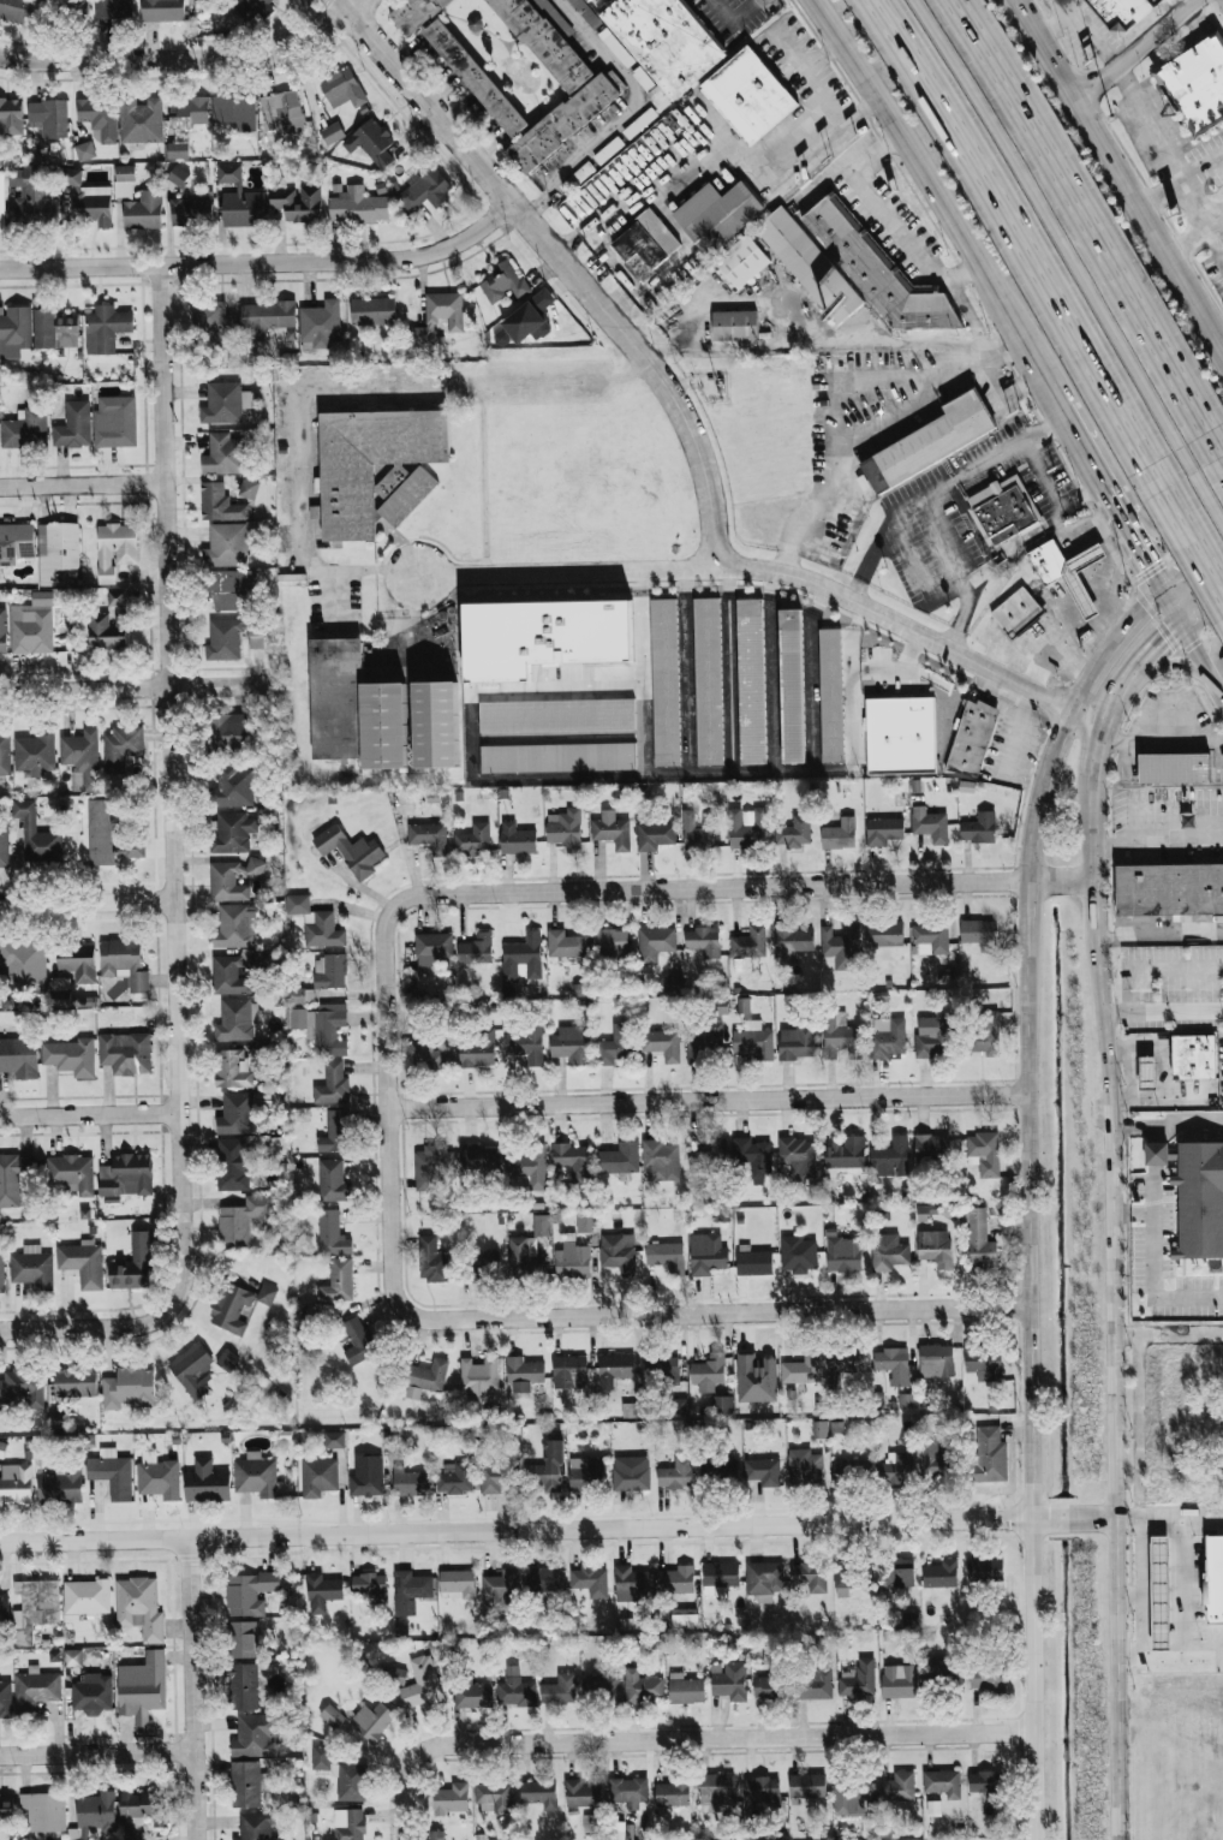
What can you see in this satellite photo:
building: (587, 0)
road: (353, 4)
building: (113, 8)
building: (253, 8)
building: (13, 10)
building: (161, 11)
building: (1118, 13)
parking lot: (734, 19)
road: (733, 20)
road: (1055, 20)
road: (1090, 32)
building: (663, 42)
road: (1139, 49)
road: (181, 56)
building: (455, 58)
building: (553, 83)
building: (1197, 85)
building: (342, 89)
building: (748, 97)
road: (823, 97)
building: (187, 112)
building: (234, 113)
building: (281, 113)
building: (10, 115)
road: (627, 115)
building: (49, 118)
building: (99, 118)
building: (139, 120)
building: (332, 133)
building: (371, 143)
road: (1163, 147)
building: (84, 151)
building: (177, 151)
building: (124, 173)
road: (1121, 173)
building: (177, 175)
building: (71, 177)
road: (1181, 180)
building: (123, 190)
building: (425, 191)
building: (32, 198)
building: (238, 200)
road: (943, 200)
building: (1, 203)
building: (298, 204)
building: (93, 206)
building: (357, 207)
building: (192, 210)
building: (143, 212)
road: (601, 214)
building: (717, 215)
road: (893, 222)
road: (1088, 225)
road: (1051, 233)
road: (1194, 236)
road: (1215, 236)
road: (1010, 244)
building: (645, 245)
road: (1221, 246)
building: (742, 261)
road: (263, 262)
road: (563, 266)
building: (852, 269)
building: (502, 284)
building: (544, 304)
road: (966, 310)
building: (372, 311)
building: (210, 317)
building: (437, 317)
building: (264, 320)
building: (525, 323)
building: (320, 324)
building: (734, 326)
building: (105, 328)
building: (55, 329)
building: (14, 332)
road: (889, 341)
road: (1222, 351)
road: (843, 391)
building: (225, 404)
building: (114, 422)
building: (73, 425)
building: (24, 429)
building: (929, 442)
road: (1088, 445)
road: (1222, 453)
building: (223, 455)
building: (376, 468)
road: (83, 486)
road: (941, 487)
building: (247, 489)
road: (1120, 500)
road: (1206, 501)
building: (219, 504)
building: (1002, 511)
road: (1176, 520)
parking lot: (929, 525)
road: (1098, 532)
road: (1137, 532)
building: (16, 543)
building: (226, 546)
building: (115, 549)
building: (56, 550)
road: (1189, 553)
building: (1046, 562)
traffic signals: (1152, 562)
road: (949, 565)
road: (757, 570)
road: (344, 571)
road: (1156, 571)
road: (1194, 573)
traffic signals: (1188, 578)
road: (640, 583)
road: (682, 583)
road: (726, 583)
road: (770, 585)
road: (1111, 585)
building: (231, 588)
building: (1080, 596)
gas station: (1080, 596)
building: (115, 599)
road: (817, 600)
road: (1204, 611)
road: (859, 615)
building: (30, 630)
building: (2, 631)
building: (107, 631)
building: (543, 636)
building: (231, 638)
road: (948, 638)
road: (1169, 638)
road: (1194, 641)
road: (1058, 643)
traffic signals: (1164, 643)
road: (1001, 645)
road: (1149, 659)
road: (1072, 660)
road: (1097, 662)
road: (1219, 667)
road: (901, 669)
road: (854, 671)
building: (708, 681)
building: (750, 681)
building: (664, 683)
road: (643, 684)
road: (686, 684)
road: (729, 684)
road: (771, 684)
building: (792, 686)
road: (139, 689)
road: (514, 689)
road: (812, 689)
road: (851, 695)
building: (830, 696)
building: (354, 709)
building: (556, 715)
building: (436, 725)
building: (229, 733)
building: (901, 736)
building: (971, 739)
road: (1164, 744)
building: (121, 746)
building: (4, 754)
building: (32, 754)
building: (557, 757)
building: (80, 760)
road: (1081, 761)
building: (1174, 768)
road: (174, 770)
road: (663, 772)
building: (233, 786)
road: (1097, 790)
building: (929, 824)
building: (978, 828)
building: (565, 829)
building: (746, 829)
building: (611, 830)
building: (883, 832)
building: (100, 833)
building: (232, 833)
building: (699, 833)
building: (793, 833)
building: (35, 835)
building: (839, 835)
building: (428, 836)
building: (654, 836)
road: (1158, 838)
building: (473, 840)
building: (517, 840)
building: (133, 845)
building: (4, 847)
building: (350, 851)
building: (232, 880)
road: (744, 888)
building: (1169, 889)
road: (89, 900)
building: (297, 905)
building: (235, 927)
building: (322, 931)
building: (978, 934)
building: (884, 935)
building: (930, 939)
building: (703, 941)
building: (791, 942)
building: (610, 943)
building: (748, 943)
building: (565, 945)
building: (655, 945)
building: (841, 947)
building: (432, 949)
building: (476, 949)
building: (521, 959)
building: (77, 963)
building: (124, 964)
building: (25, 966)
road: (1153, 967)
building: (329, 972)
building: (232, 973)
building: (669, 984)
parking lot: (1174, 993)
road: (1176, 1011)
road: (1115, 1014)
building: (237, 1020)
building: (322, 1030)
building: (840, 1036)
building: (931, 1037)
building: (885, 1038)
building: (753, 1041)
building: (797, 1042)
building: (526, 1044)
building: (662, 1044)
building: (705, 1044)
building: (571, 1046)
building: (613, 1047)
building: (477, 1049)
building: (125, 1053)
building: (428, 1053)
building: (70, 1056)
building: (19, 1058)
building: (1193, 1058)
building: (232, 1070)
building: (1147, 1072)
building: (332, 1084)
road: (708, 1101)
road: (387, 1107)
building: (237, 1114)
road: (90, 1115)
road: (1188, 1124)
road: (1133, 1127)
building: (334, 1133)
road: (1155, 1133)
building: (931, 1148)
building: (984, 1154)
building: (846, 1155)
road: (1153, 1155)
building: (477, 1156)
building: (798, 1156)
building: (752, 1157)
building: (709, 1159)
building: (890, 1159)
building: (572, 1160)
building: (619, 1160)
building: (660, 1161)
building: (234, 1165)
building: (429, 1166)
building: (527, 1166)
building: (71, 1173)
building: (126, 1175)
building: (13, 1178)
building: (332, 1181)
building: (1200, 1198)
road: (1132, 1213)
building: (243, 1222)
building: (585, 1223)
building: (541, 1226)
building: (332, 1234)
building: (980, 1241)
building: (935, 1249)
building: (888, 1252)
building: (618, 1254)
building: (706, 1255)
building: (798, 1255)
building: (843, 1255)
building: (666, 1257)
building: (524, 1260)
building: (572, 1260)
building: (430, 1261)
building: (752, 1262)
building: (82, 1263)
road: (1151, 1264)
building: (133, 1266)
building: (31, 1267)
building: (484, 1269)
building: (1, 1272)
building: (338, 1281)
road: (1028, 1293)
building: (237, 1306)
building: (309, 1315)
road: (715, 1318)
road: (105, 1327)
road: (1180, 1338)
road: (1126, 1339)
building: (357, 1341)
building: (226, 1360)
building: (935, 1360)
building: (983, 1362)
building: (842, 1364)
building: (893, 1365)
building: (616, 1366)
building: (661, 1369)
building: (803, 1369)
building: (192, 1370)
building: (569, 1372)
building: (708, 1372)
building: (523, 1374)
building: (478, 1375)
building: (425, 1378)
building: (756, 1378)
building: (74, 1382)
road: (1115, 1382)
building: (20, 1388)
building: (127, 1389)
building: (906, 1400)
building: (722, 1405)
building: (678, 1407)
building: (819, 1430)
building: (334, 1440)
building: (989, 1457)
building: (933, 1460)
building: (804, 1467)
building: (547, 1469)
building: (895, 1470)
building: (849, 1471)
building: (714, 1472)
building: (764, 1472)
building: (112, 1473)
building: (675, 1475)
building: (255, 1476)
building: (156, 1477)
building: (318, 1477)
building: (366, 1477)
building: (455, 1478)
building: (497, 1478)
building: (631, 1479)
building: (205, 1483)
building: (408, 1483)
building: (16, 1484)
building: (60, 1487)
road: (1072, 1519)
road: (514, 1531)
building: (984, 1570)
building: (900, 1573)
building: (720, 1574)
building: (939, 1574)
building: (810, 1577)
building: (545, 1579)
building: (676, 1580)
building: (763, 1580)
building: (1215, 1580)
building: (590, 1582)
building: (458, 1583)
building: (370, 1586)
building: (632, 1586)
building: (501, 1589)
road: (1188, 1589)
building: (410, 1591)
building: (249, 1592)
building: (322, 1592)
building: (1161, 1592)
building: (85, 1596)
building: (35, 1606)
building: (139, 1607)
building: (4, 1610)
building: (684, 1619)
building: (243, 1639)
building: (72, 1659)
building: (986, 1677)
building: (728, 1680)
building: (858, 1681)
building: (900, 1681)
building: (774, 1683)
building: (813, 1683)
building: (243, 1686)
building: (418, 1686)
building: (598, 1687)
road: (195, 1689)
building: (642, 1689)
building: (35, 1690)
building: (141, 1690)
building: (514, 1690)
building: (559, 1690)
building: (685, 1690)
building: (471, 1693)
building: (91, 1695)
building: (5, 1699)
building: (330, 1716)
building: (372, 1721)
building: (255, 1735)
road: (678, 1743)
road: (97, 1753)
building: (320, 1758)
building: (351, 1782)
building: (245, 1784)
building: (942, 1784)
building: (986, 1785)
building: (806, 1786)
building: (896, 1788)
building: (717, 1790)
building: (627, 1792)
building: (762, 1792)
building: (539, 1794)
building: (581, 1794)
building: (672, 1794)
building: (494, 1797)
building: (851, 1797)
building: (451, 1799)
building: (6, 1809)
building: (142, 1809)
building: (933, 1809)
building: (42, 1812)
building: (871, 1812)
building: (93, 1815)
building: (592, 1823)
building: (348, 1824)
building: (256, 1826)

